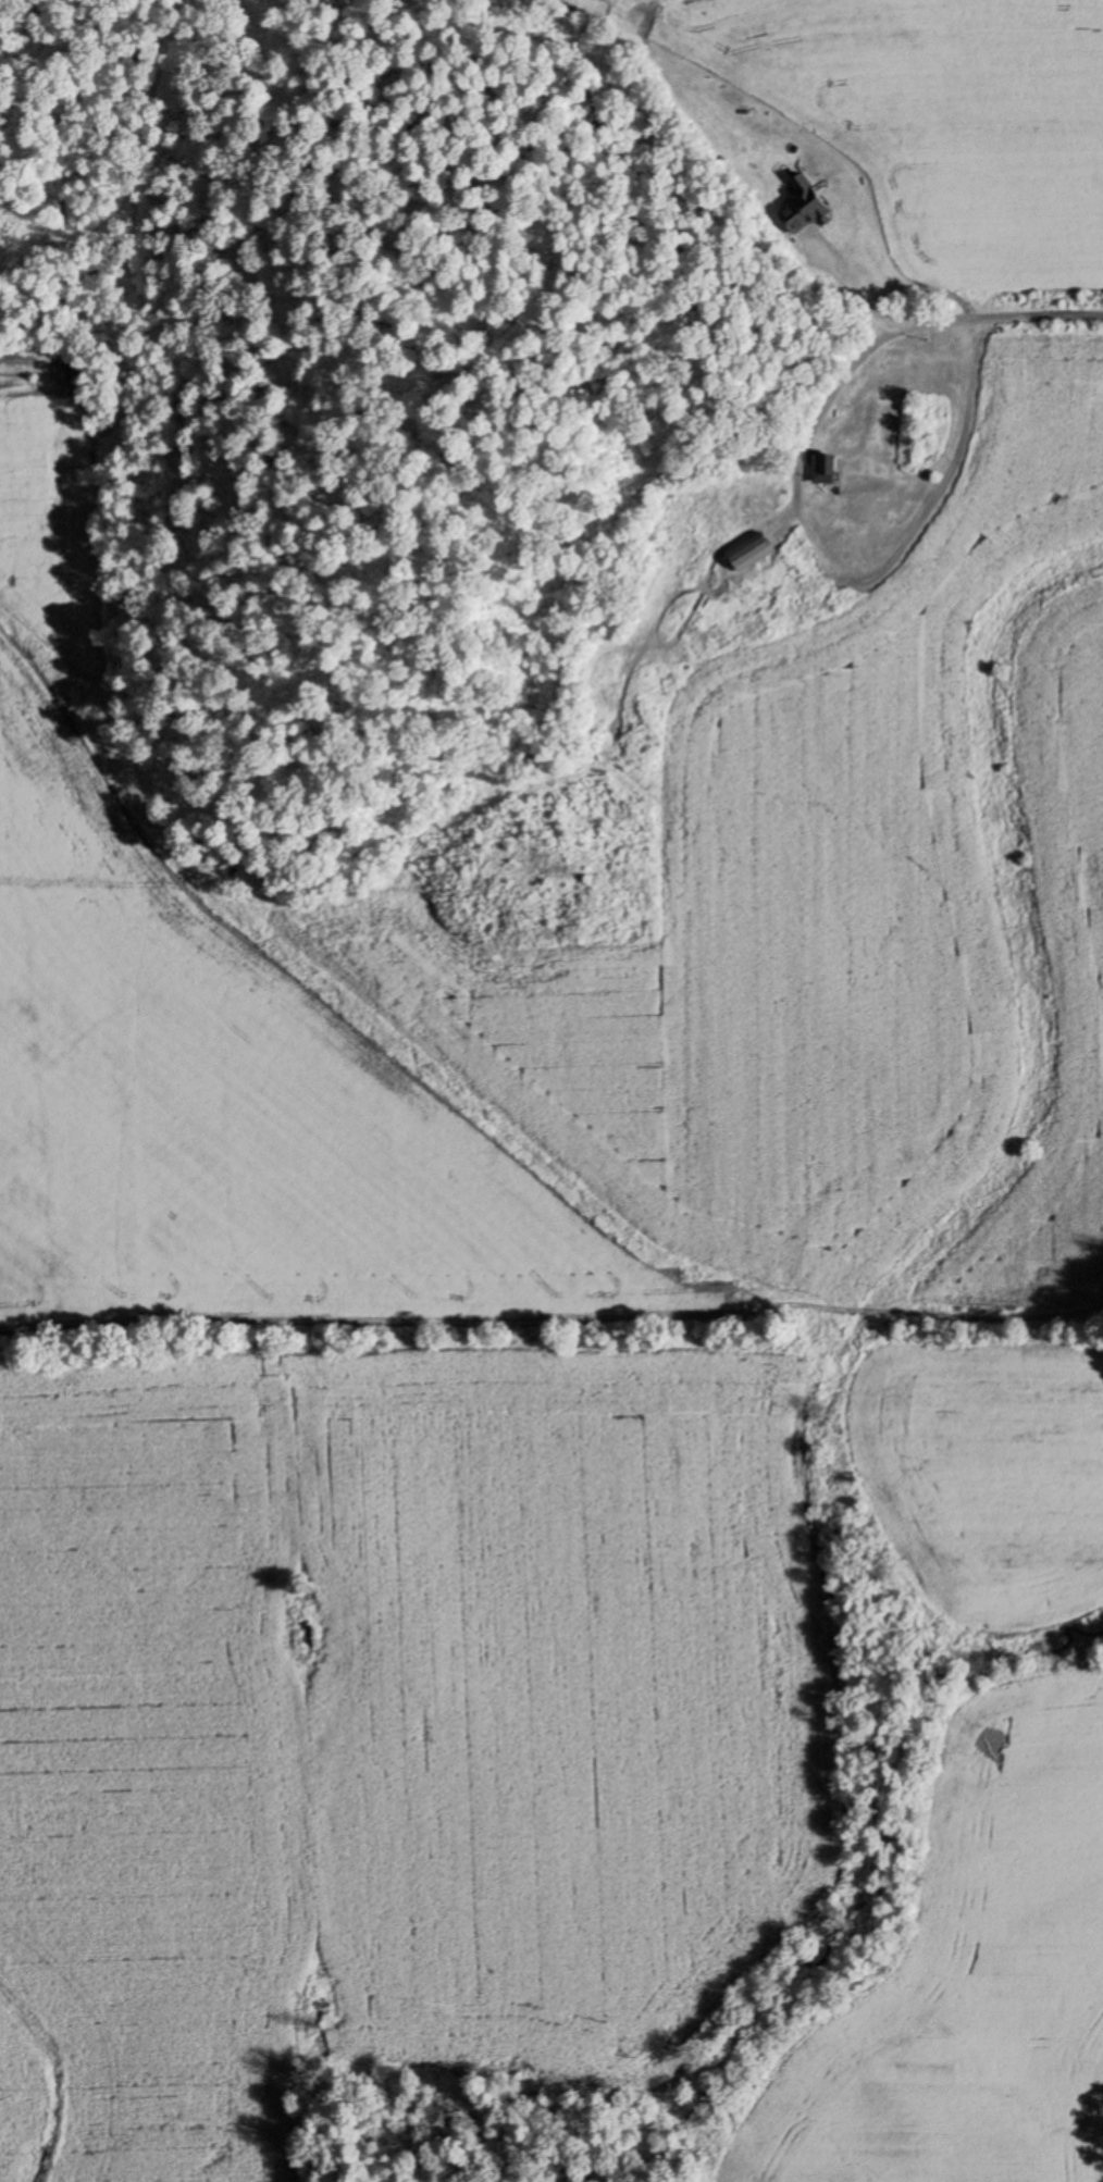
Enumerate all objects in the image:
building: (806, 210)
road: (880, 348)
building: (818, 470)
building: (747, 555)

